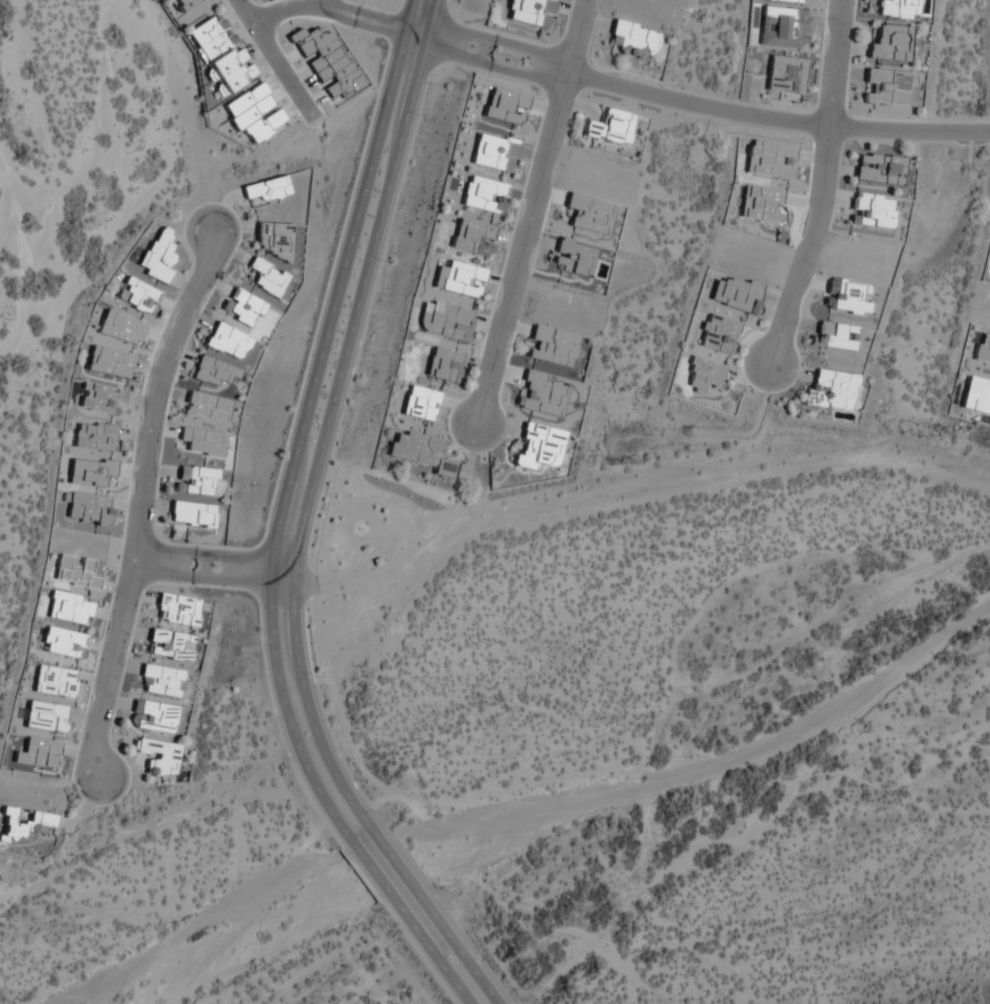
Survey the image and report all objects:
building: (786, 0)
building: (178, 5)
road: (325, 5)
building: (898, 9)
road: (330, 12)
building: (530, 12)
building: (632, 41)
building: (891, 44)
building: (220, 55)
road: (278, 64)
building: (786, 75)
building: (888, 87)
road: (693, 105)
building: (504, 107)
building: (610, 129)
building: (492, 153)
building: (879, 169)
road: (821, 186)
building: (265, 190)
building: (483, 195)
building: (761, 204)
road: (530, 212)
building: (473, 238)
building: (275, 240)
building: (267, 278)
building: (462, 279)
building: (136, 295)
building: (736, 295)
building: (717, 334)
building: (833, 336)
building: (227, 342)
building: (443, 365)
building: (213, 372)
building: (703, 375)
building: (831, 391)
building: (977, 397)
building: (419, 404)
building: (206, 407)
road: (331, 414)
road: (303, 420)
building: (93, 436)
building: (539, 447)
building: (420, 453)
building: (196, 481)
road: (143, 506)
building: (88, 509)
building: (192, 514)
road: (216, 569)
building: (69, 608)
building: (176, 610)
building: (169, 645)
building: (54, 681)
building: (160, 681)
building: (45, 717)
building: (152, 717)
building: (158, 757)
building: (22, 825)
road: (393, 855)
road: (370, 866)
road: (459, 946)
road: (430, 952)

